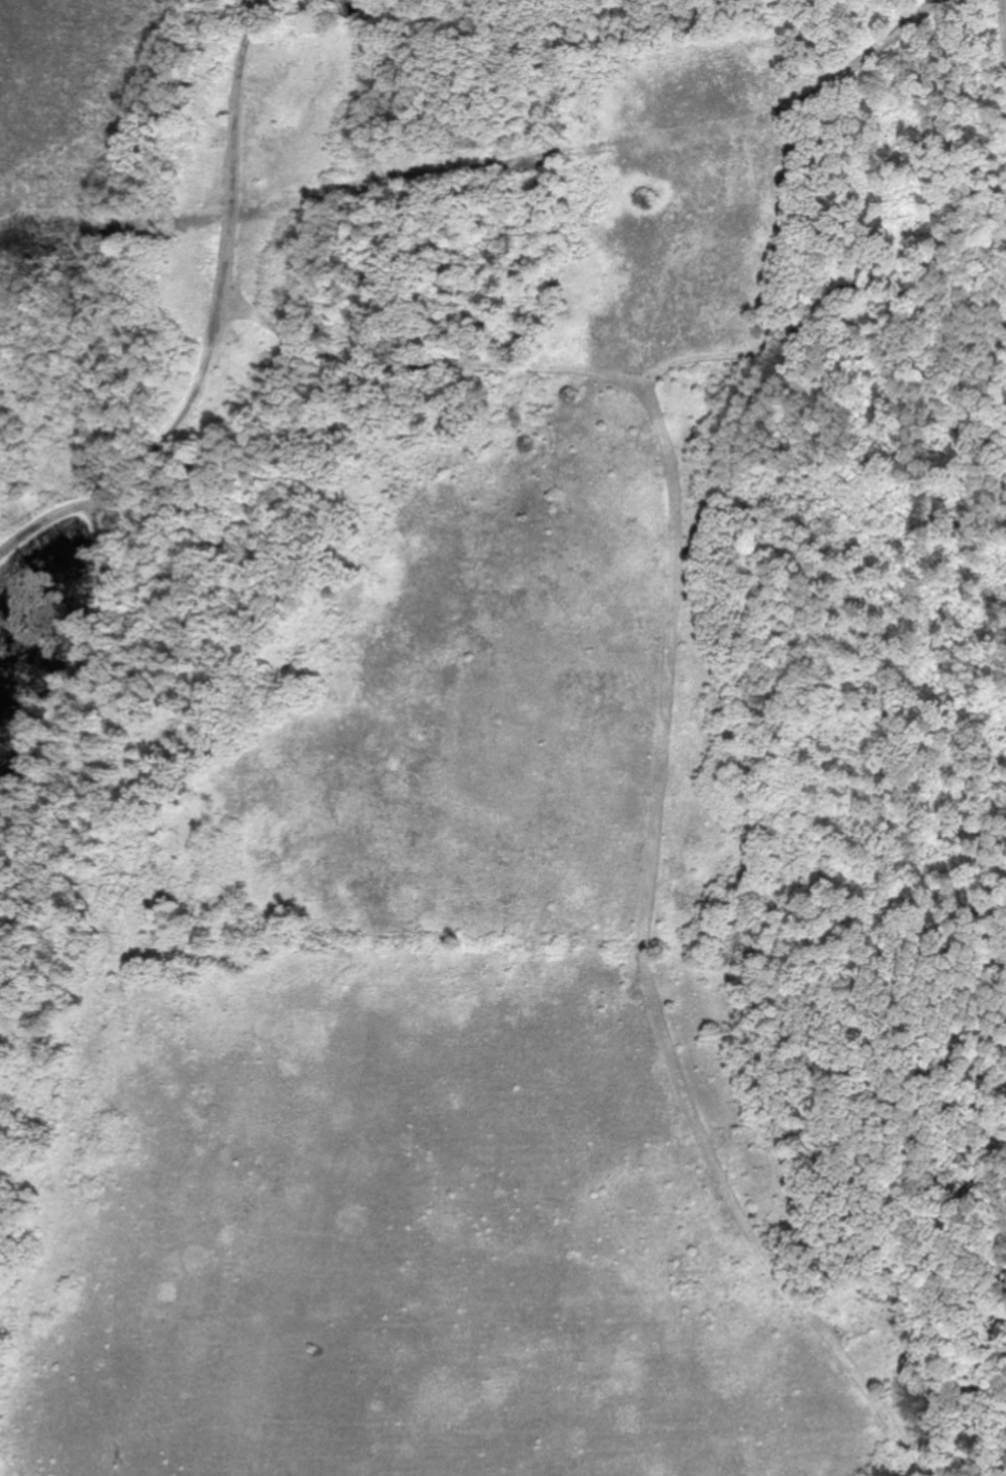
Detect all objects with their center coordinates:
road: (1004, 12)
road: (237, 158)
road: (846, 290)
road: (432, 350)
road: (139, 460)
road: (98, 666)
park: (503, 738)
road: (647, 961)

